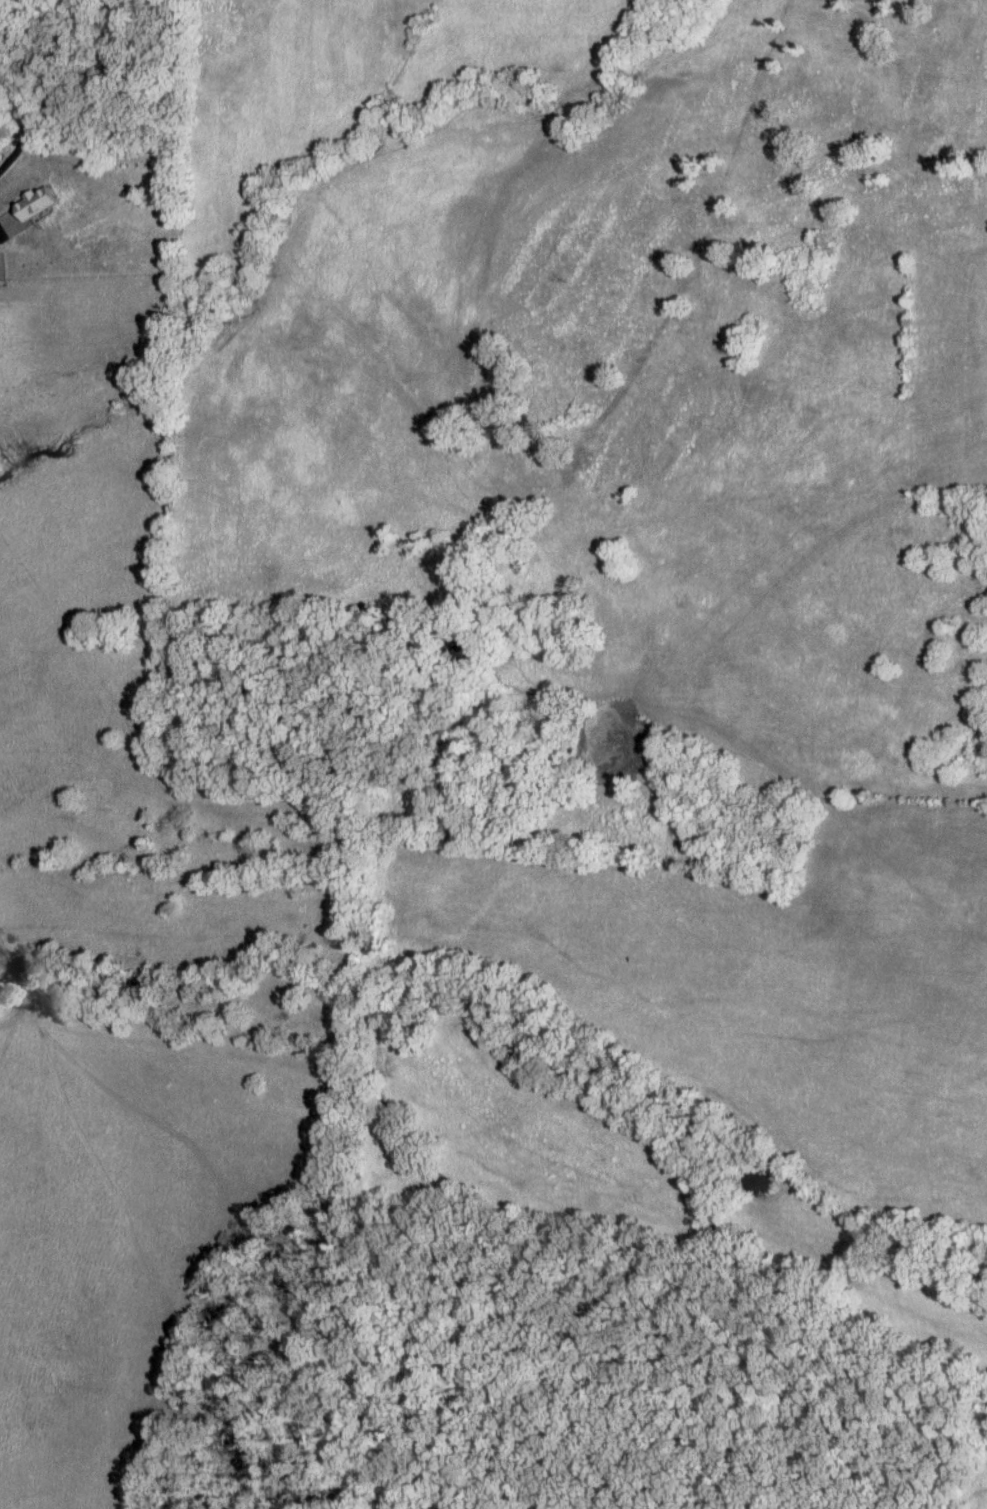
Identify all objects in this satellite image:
building: (32, 201)
road: (658, 330)
building: (493, 540)
building: (457, 652)

